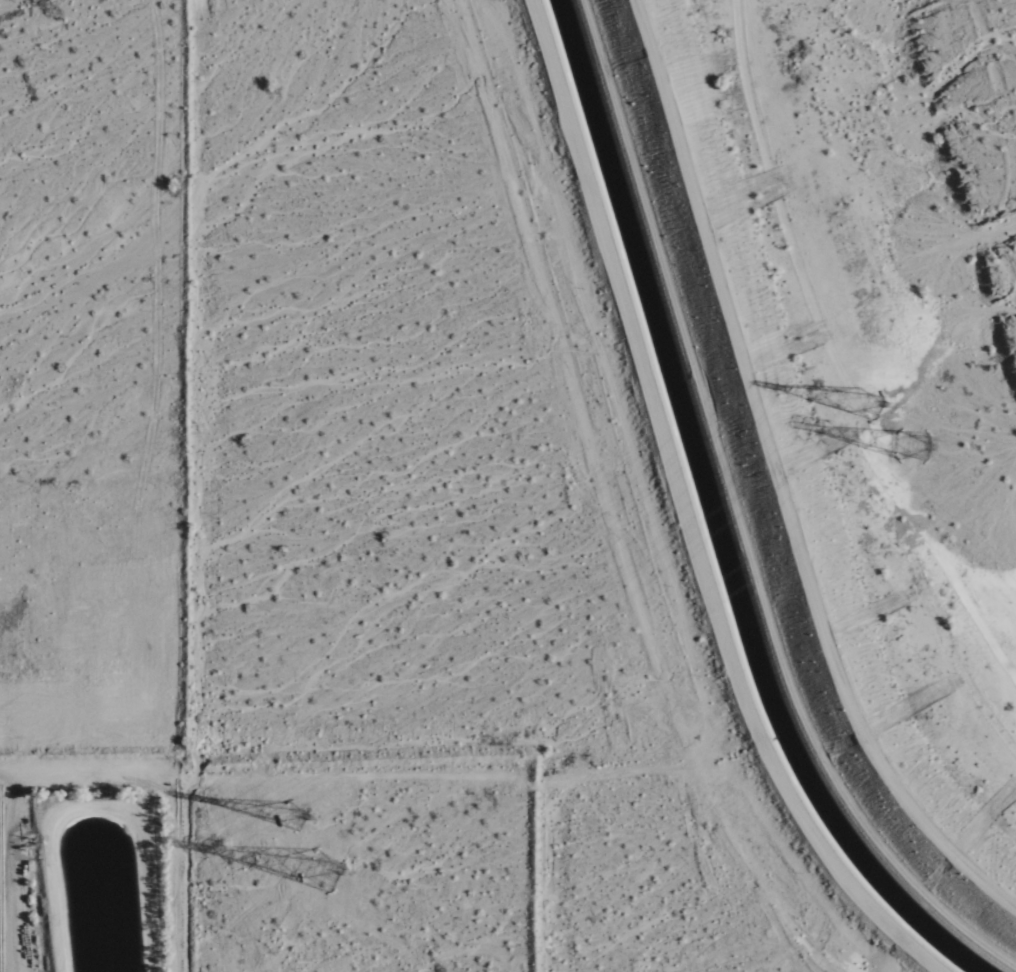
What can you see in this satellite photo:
power tower: (865, 408)
power tower: (914, 449)
power tower: (292, 808)
power tower: (323, 872)

